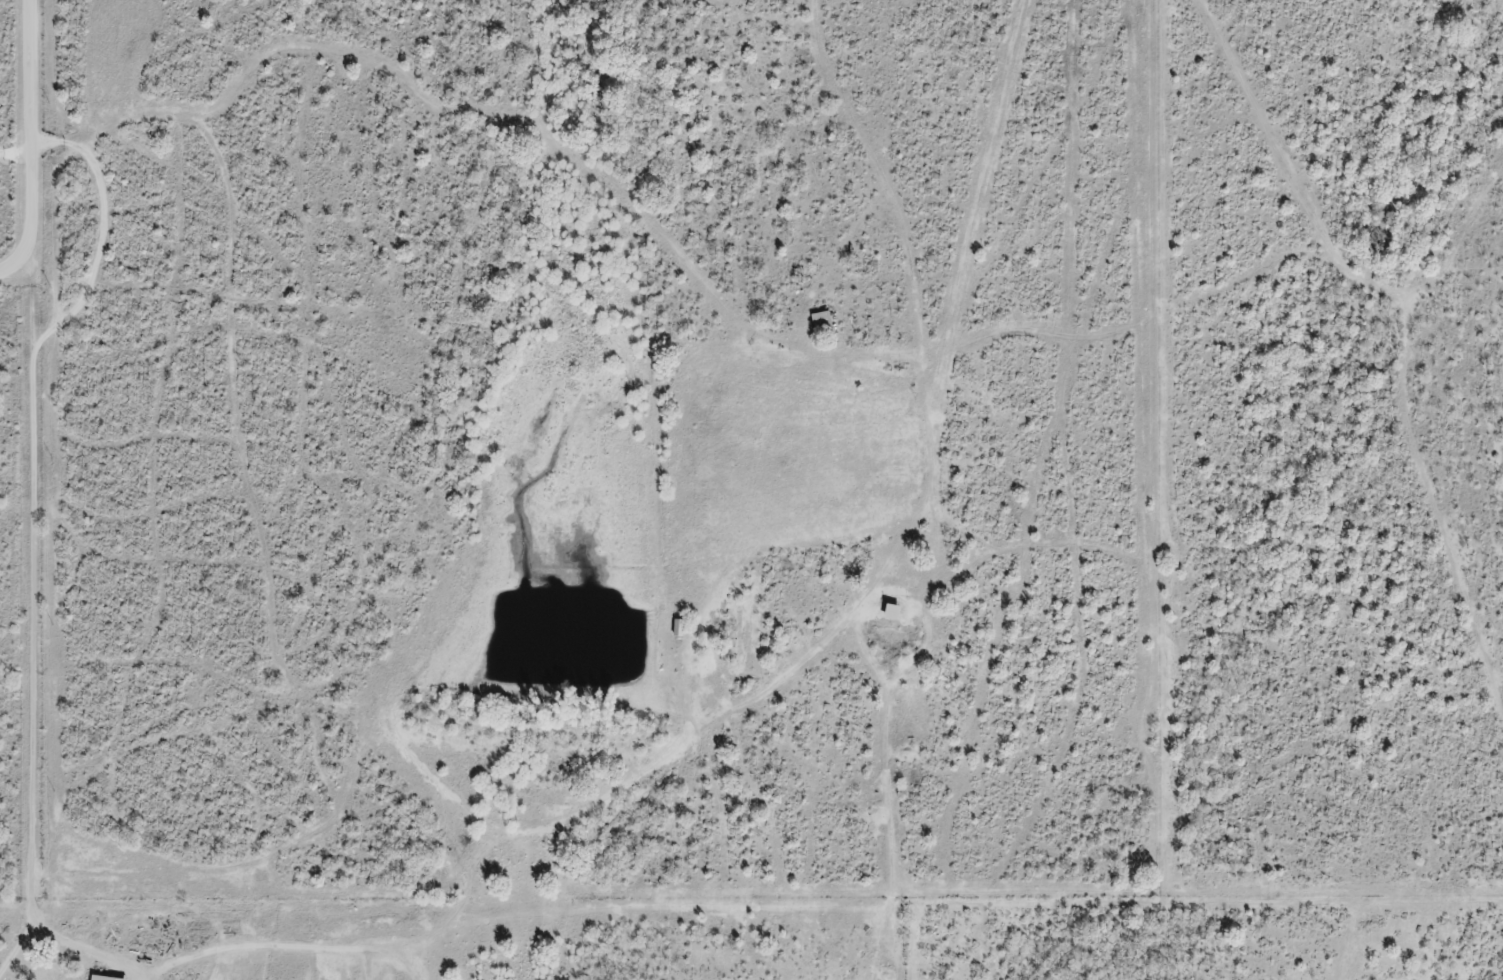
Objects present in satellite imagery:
road: (31, 146)
road: (15, 155)
building: (817, 323)
road: (31, 574)
building: (886, 613)
building: (674, 630)
road: (462, 894)
road: (32, 909)
road: (90, 949)
road: (19, 950)
building: (110, 976)

